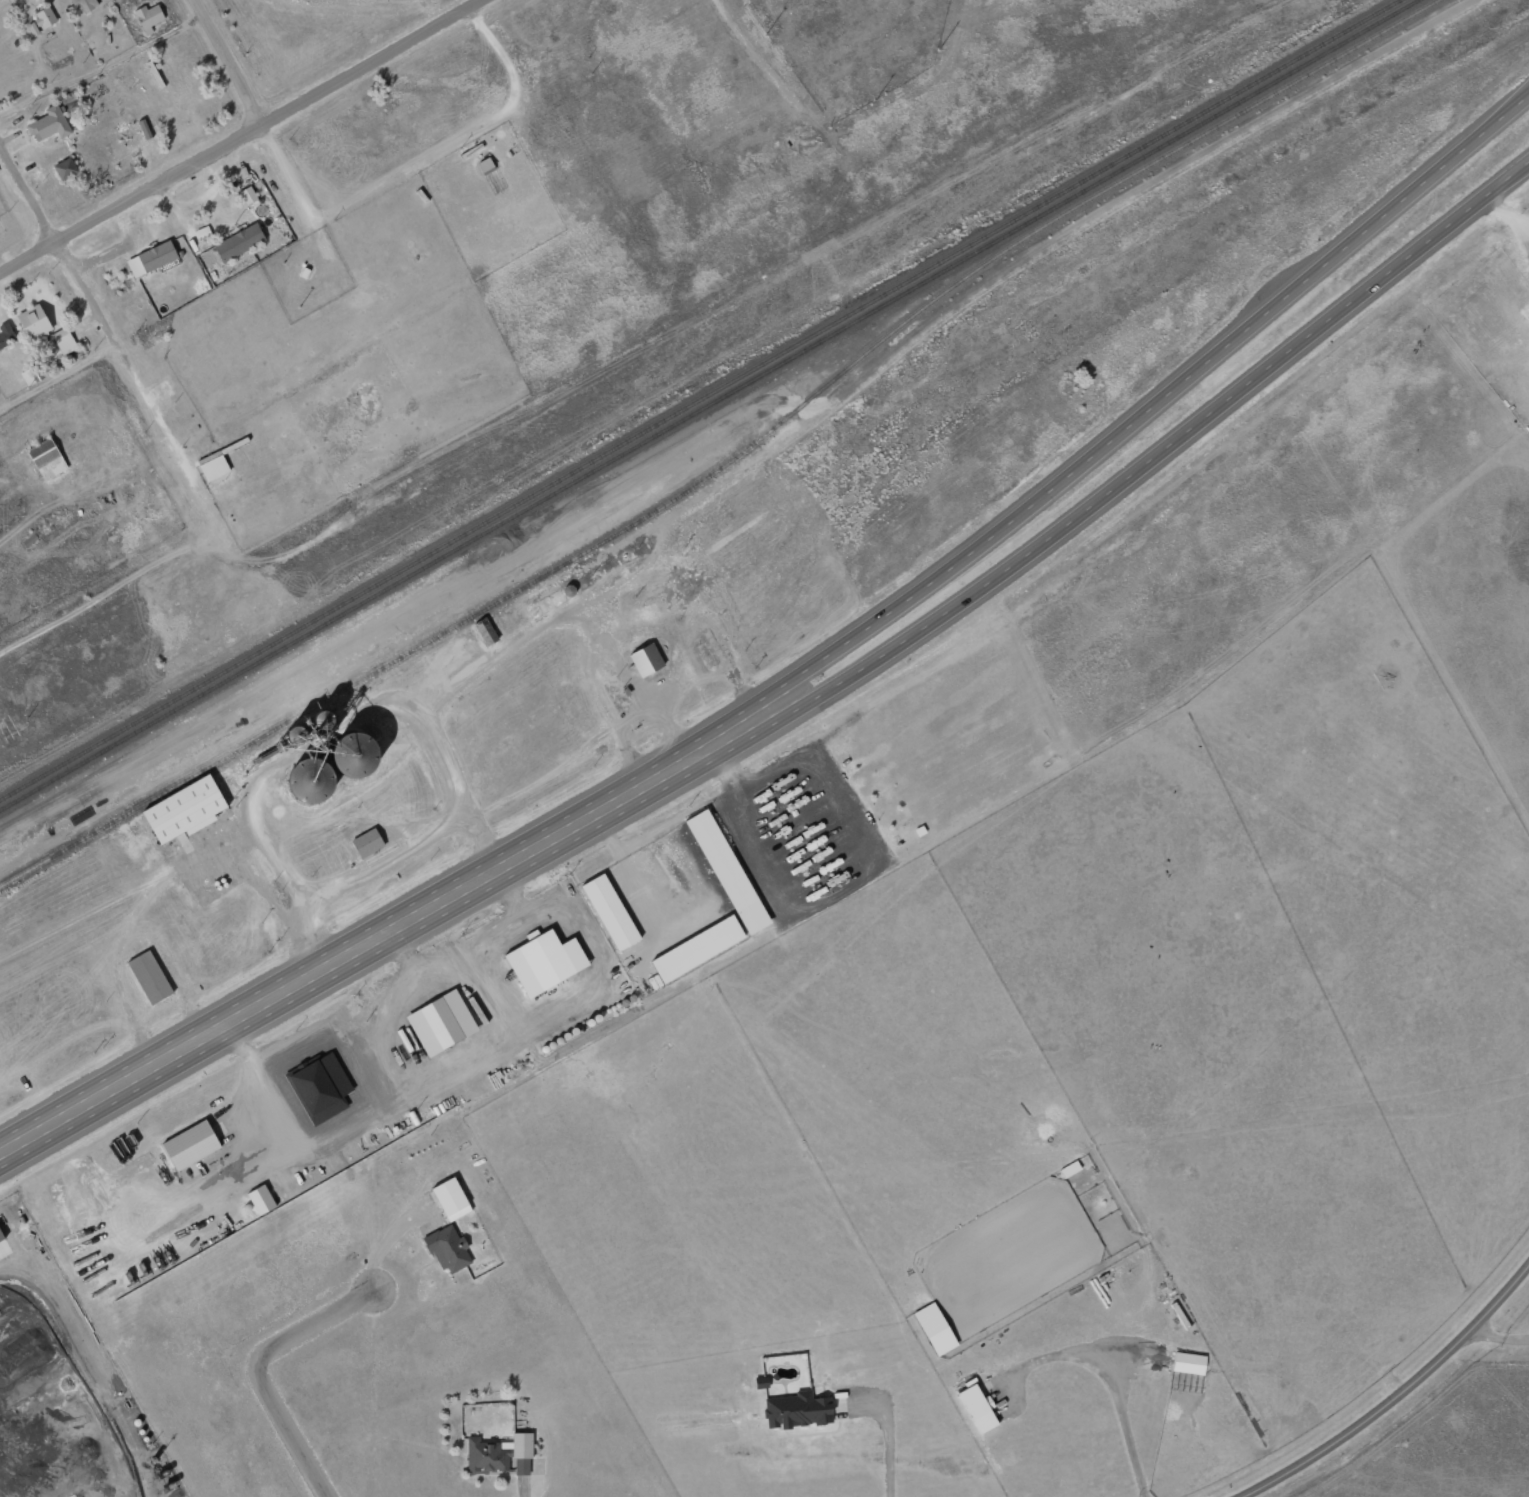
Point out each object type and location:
building: (84, 4)
building: (148, 17)
building: (42, 20)
park: (305, 37)
park: (852, 45)
park: (851, 56)
road: (227, 60)
road: (98, 64)
building: (49, 123)
building: (145, 129)
road: (236, 136)
building: (65, 167)
building: (247, 194)
building: (238, 241)
building: (151, 258)
road: (105, 318)
building: (34, 322)
building: (6, 334)
building: (64, 340)
road: (58, 371)
building: (30, 375)
railway: (698, 400)
railway: (707, 404)
road: (1143, 412)
building: (46, 458)
road: (1152, 458)
railway: (730, 461)
building: (213, 465)
road: (105, 559)
building: (646, 659)
building: (309, 781)
building: (184, 810)
building: (367, 843)
building: (727, 858)
building: (609, 898)
building: (697, 935)
road: (379, 940)
building: (544, 950)
building: (149, 964)
building: (440, 1010)
building: (191, 1132)
building: (450, 1185)
building: (261, 1188)
building: (447, 1237)
building: (935, 1328)
building: (1188, 1362)
road: (256, 1363)
road: (1399, 1397)
building: (978, 1407)
building: (796, 1409)
building: (485, 1444)
building: (522, 1444)

